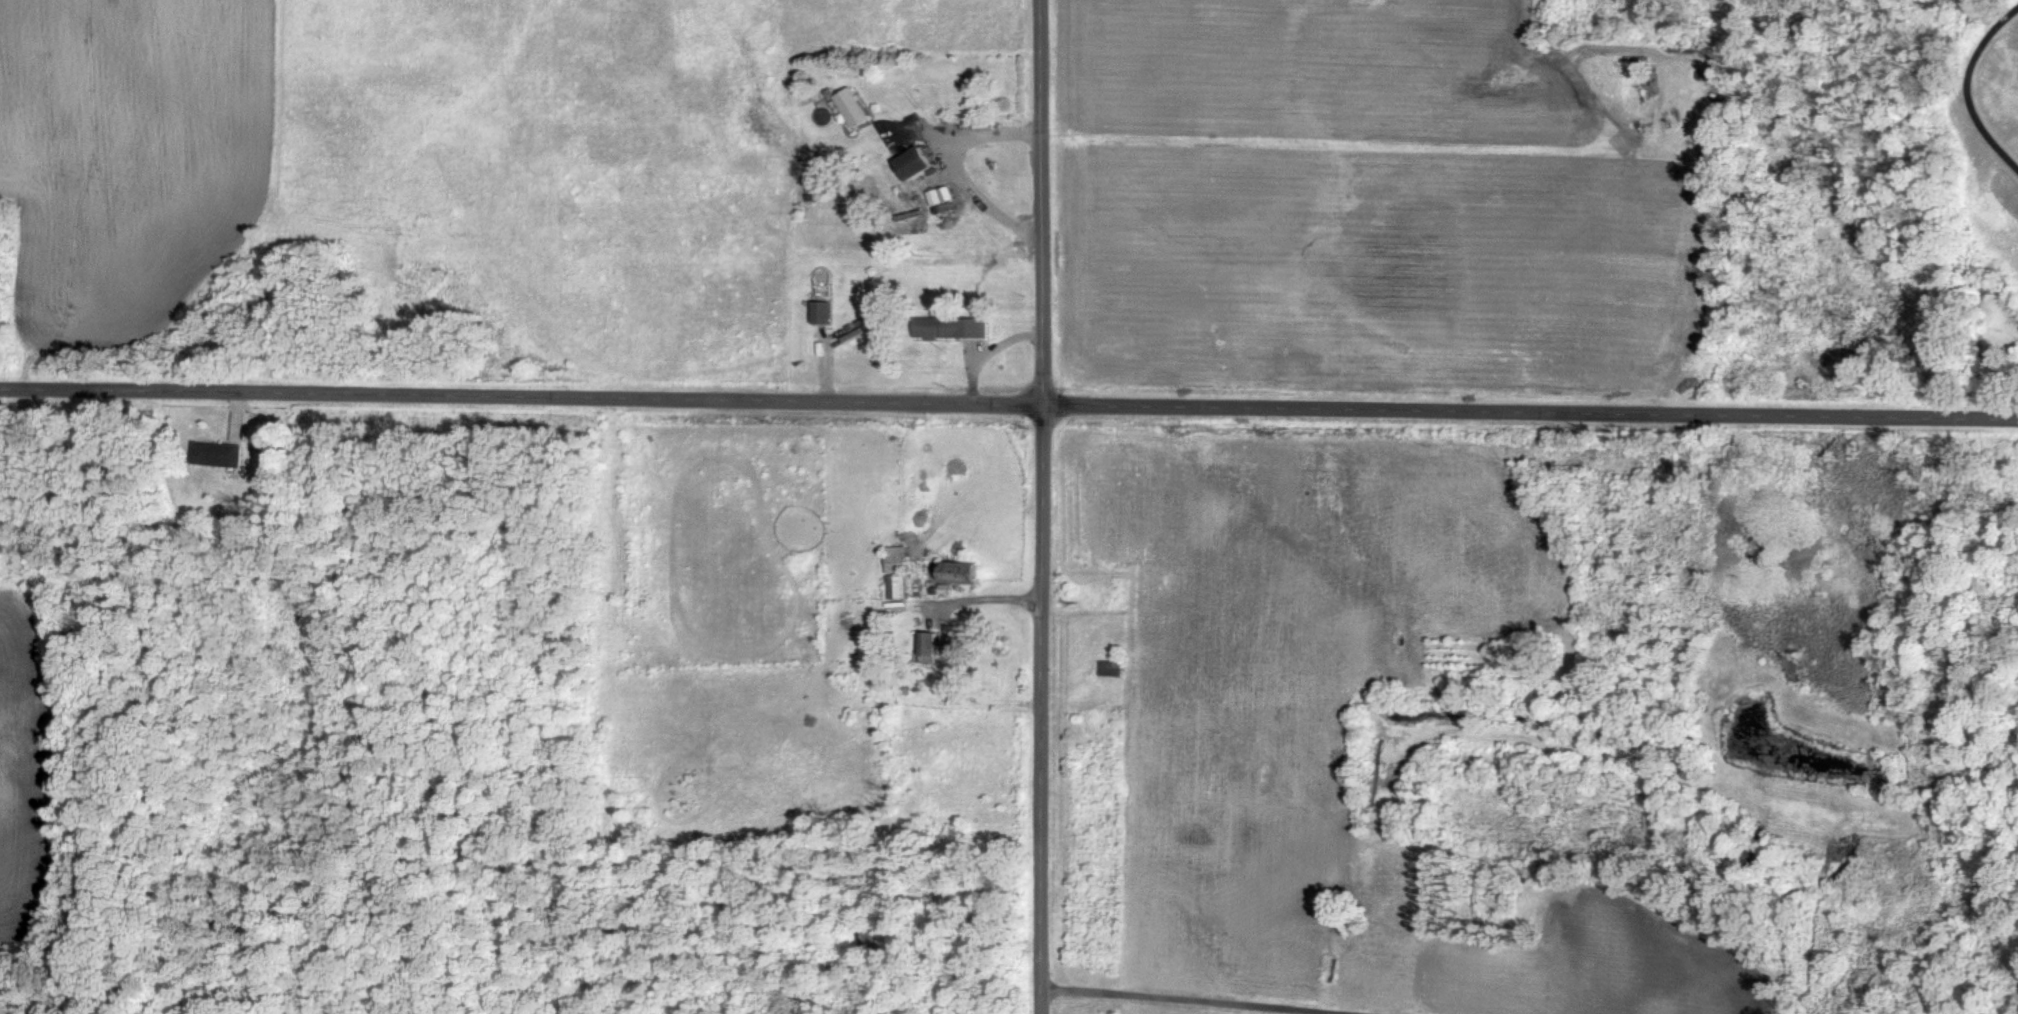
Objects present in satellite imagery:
road: (1965, 83)
building: (853, 106)
road: (916, 133)
road: (950, 160)
building: (914, 161)
building: (940, 194)
building: (821, 310)
building: (950, 326)
road: (1008, 406)
building: (218, 452)
road: (1045, 506)
building: (897, 558)
building: (961, 571)
building: (897, 585)
road: (984, 598)
building: (929, 646)
building: (1110, 667)
road: (1209, 998)

